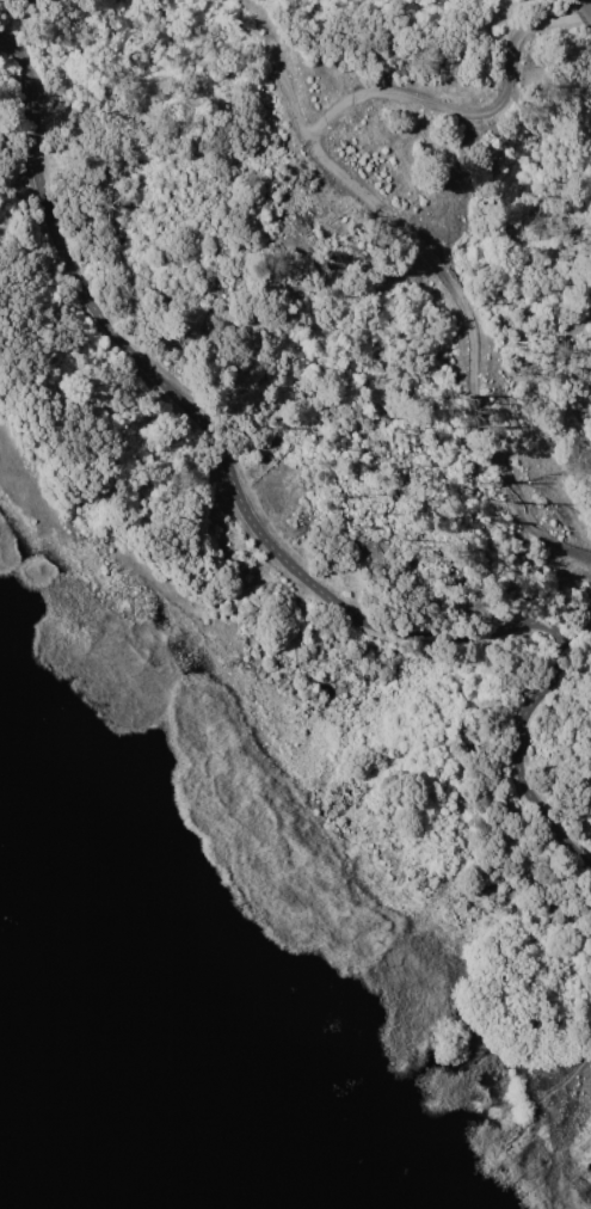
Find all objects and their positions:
road: (587, 4)
road: (467, 110)
road: (451, 289)
road: (267, 542)

